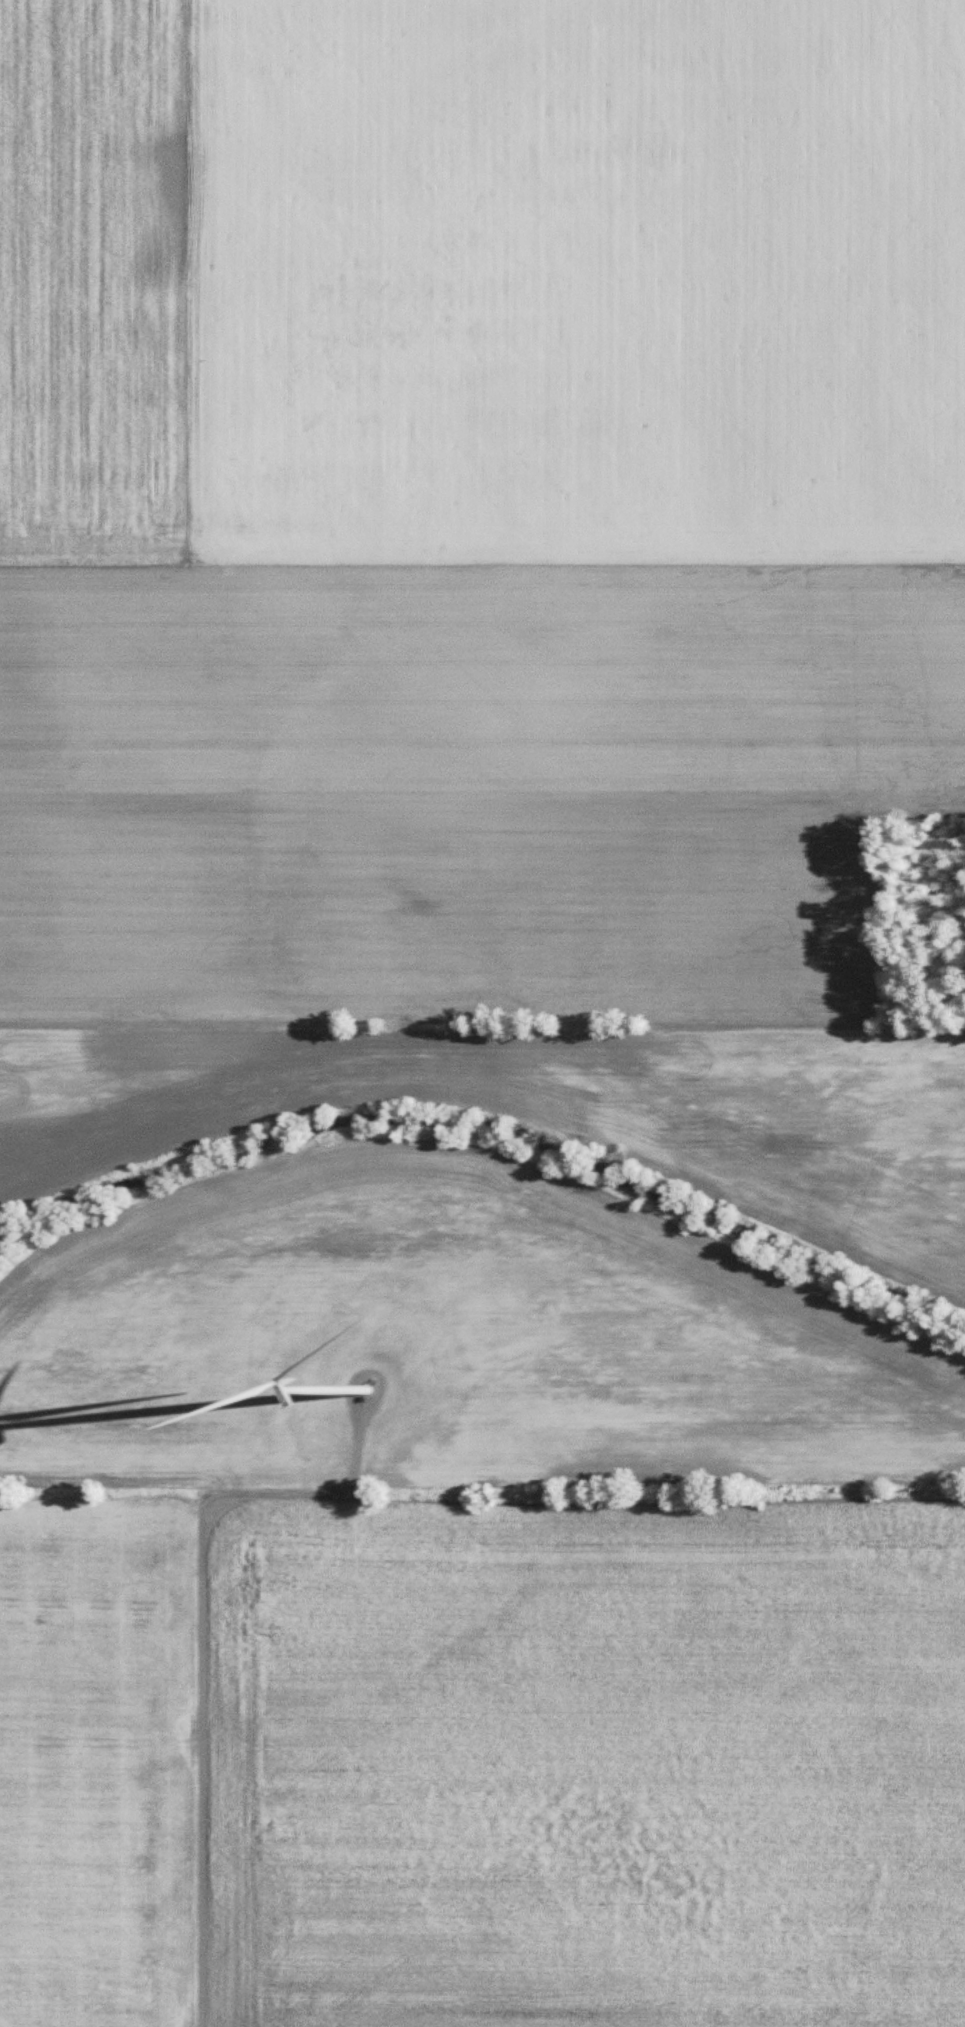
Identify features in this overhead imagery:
river: (488, 1126)
wind turbine: (312, 1379)
road: (211, 1700)

